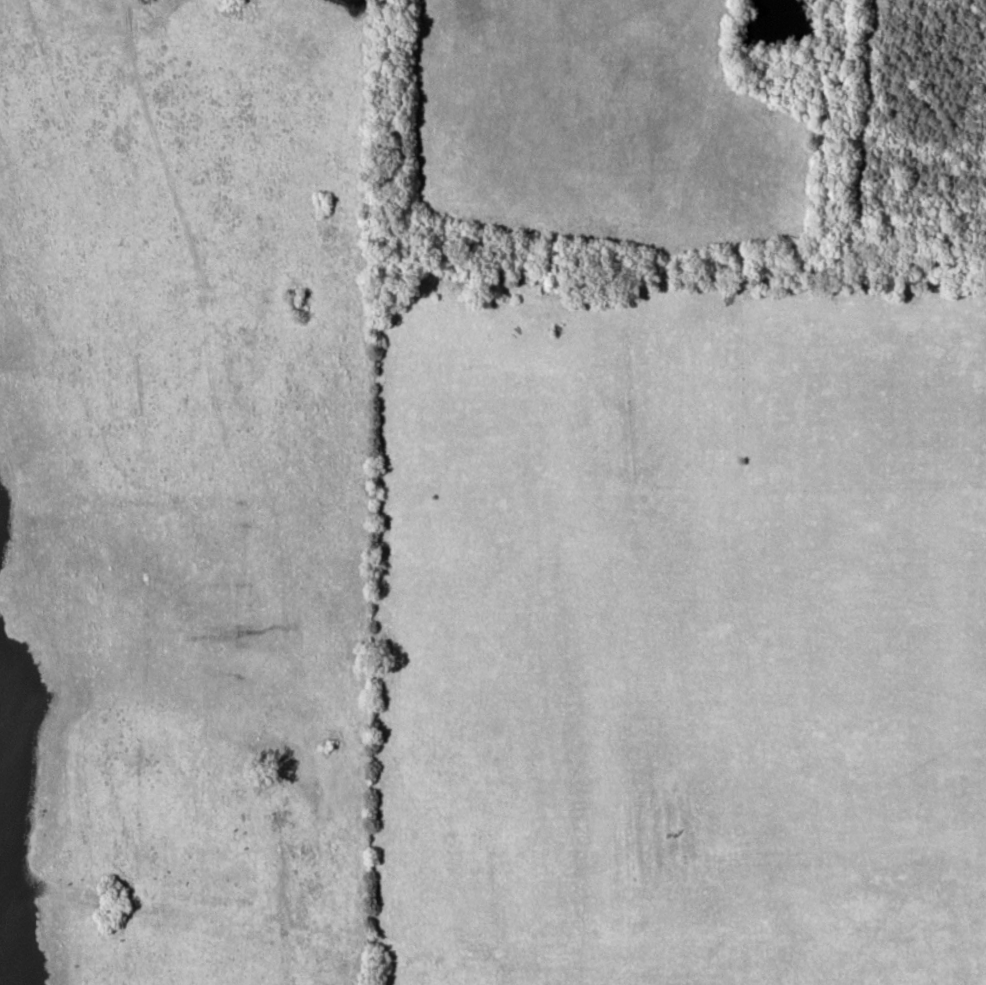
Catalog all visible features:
building: (719, 845)

